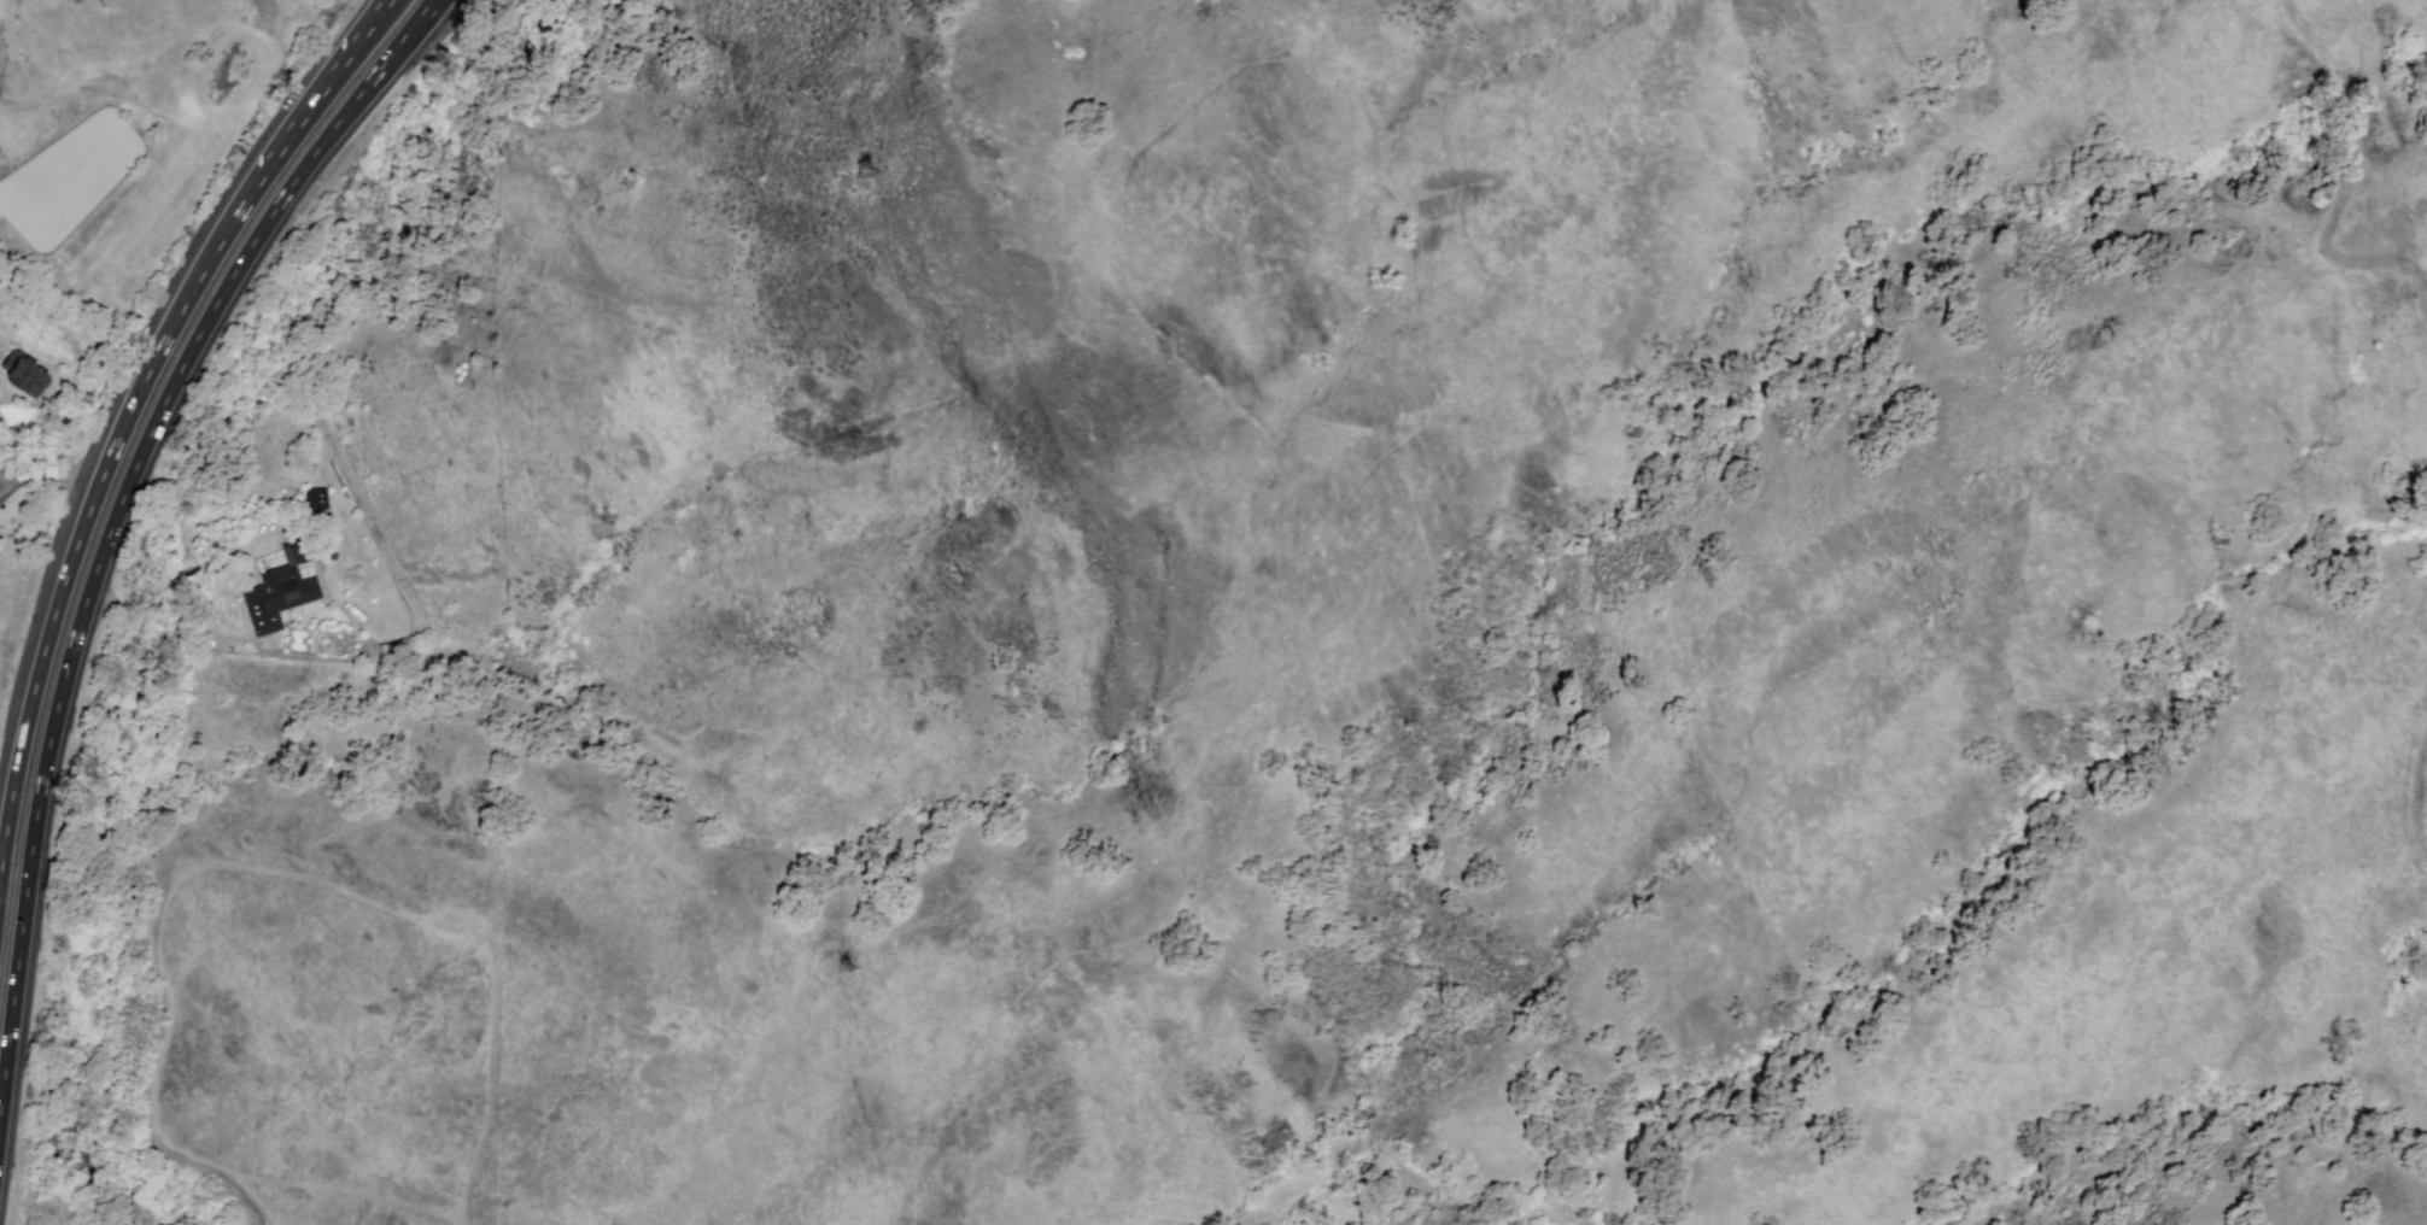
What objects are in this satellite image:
road: (431, 12)
road: (321, 83)
road: (2350, 175)
power tower: (875, 193)
building: (5, 276)
building: (30, 379)
road: (52, 479)
road: (6, 482)
road: (89, 527)
road: (111, 535)
building: (282, 593)
road: (2414, 786)
power tower: (858, 949)

